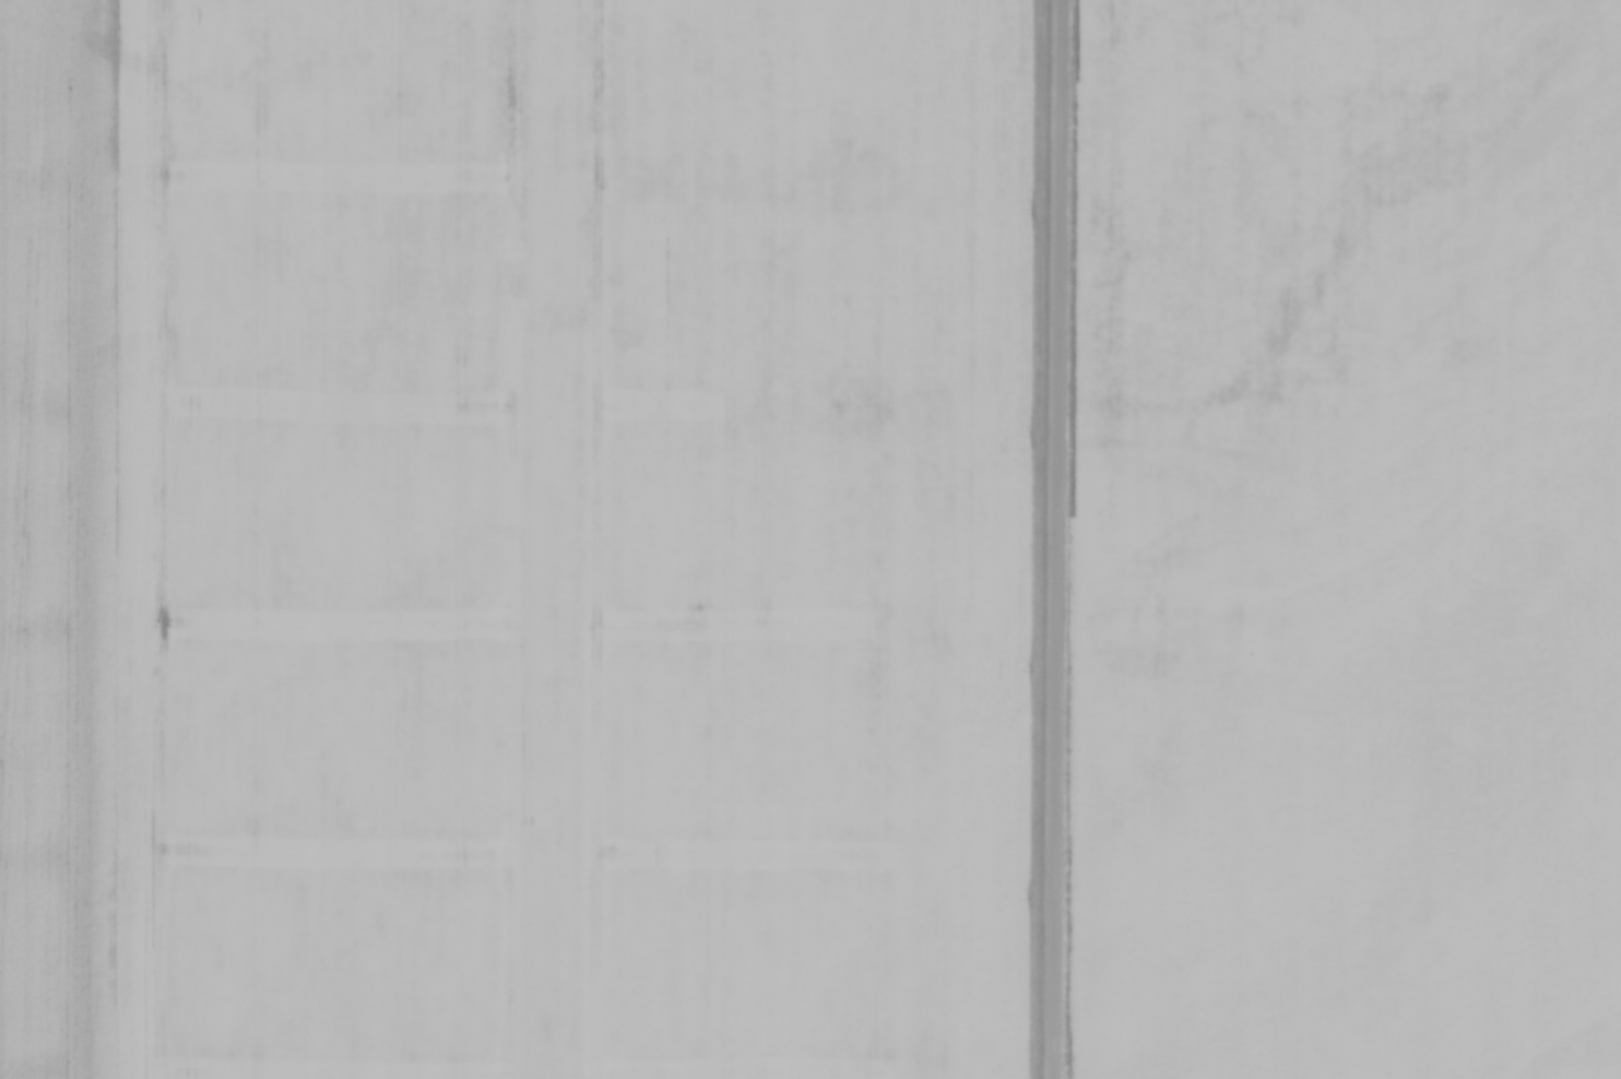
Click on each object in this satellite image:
road: (1054, 538)

